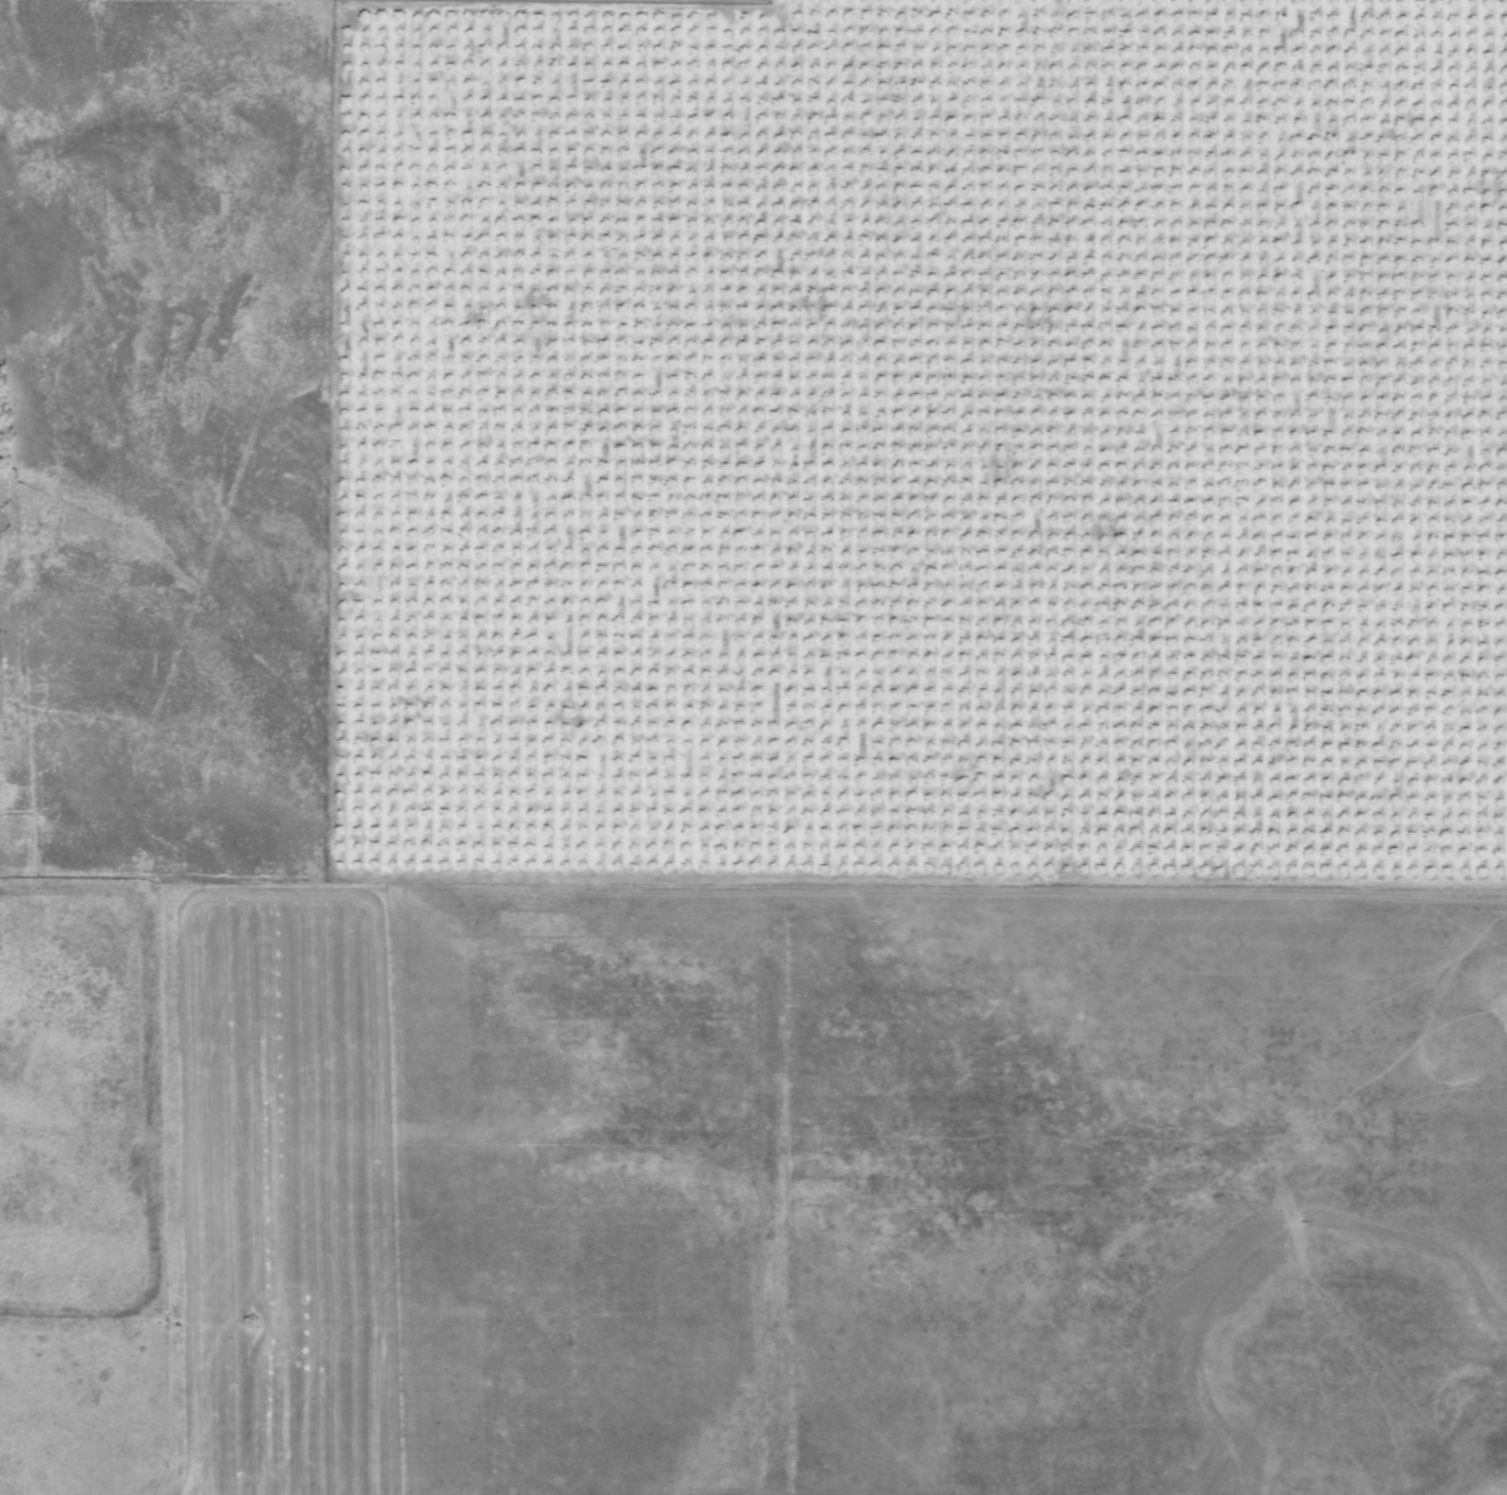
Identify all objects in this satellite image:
road: (61, 891)

